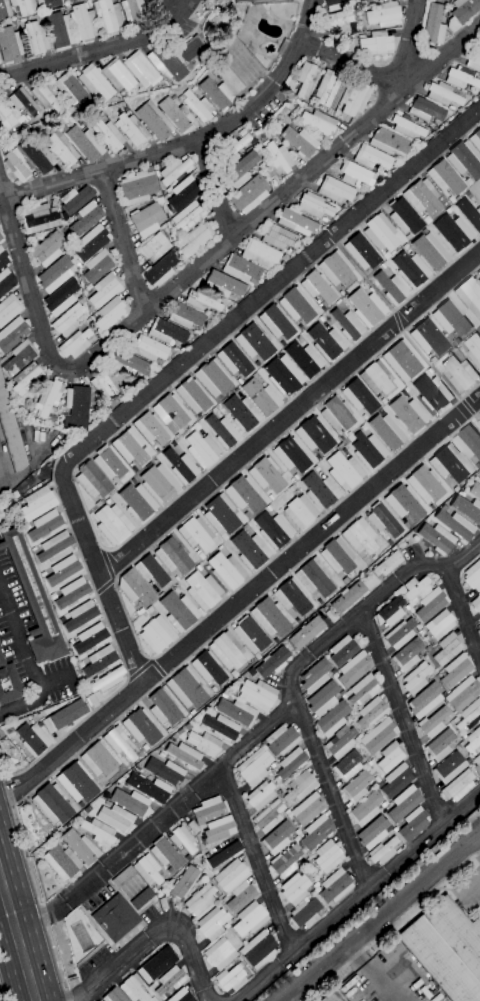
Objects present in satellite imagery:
building: (72, 0)
building: (382, 0)
building: (385, 0)
building: (252, 1)
building: (47, 4)
building: (337, 4)
building: (24, 6)
building: (4, 9)
building: (135, 13)
building: (462, 13)
building: (384, 15)
building: (108, 16)
building: (340, 20)
building: (83, 22)
building: (434, 25)
building: (60, 30)
building: (35, 38)
road: (410, 43)
building: (376, 44)
building: (10, 45)
road: (102, 48)
building: (192, 49)
building: (474, 60)
building: (0, 62)
building: (167, 62)
road: (354, 65)
building: (141, 70)
building: (118, 76)
building: (306, 78)
building: (462, 78)
building: (95, 83)
building: (329, 89)
building: (72, 91)
building: (219, 94)
building: (443, 94)
building: (46, 96)
building: (354, 98)
building: (23, 102)
building: (199, 106)
building: (426, 110)
building: (7, 116)
building: (178, 116)
building: (154, 120)
building: (319, 122)
building: (407, 127)
building: (133, 130)
building: (109, 135)
building: (475, 139)
road: (192, 142)
building: (300, 142)
building: (389, 142)
building: (86, 143)
building: (62, 149)
building: (233, 149)
building: (37, 155)
building: (278, 158)
building: (372, 158)
building: (465, 159)
building: (18, 165)
building: (240, 170)
building: (175, 171)
building: (356, 174)
building: (445, 177)
building: (138, 187)
building: (479, 188)
road: (215, 190)
building: (335, 190)
building: (183, 192)
building: (249, 194)
building: (422, 198)
building: (479, 198)
building: (75, 199)
building: (315, 206)
building: (469, 213)
building: (189, 216)
building: (405, 216)
building: (39, 218)
building: (86, 218)
building: (146, 219)
building: (296, 222)
building: (380, 232)
building: (453, 232)
building: (1, 235)
building: (278, 237)
building: (195, 239)
road: (123, 241)
building: (91, 242)
building: (154, 247)
building: (48, 249)
building: (431, 250)
building: (362, 251)
building: (260, 253)
building: (3, 258)
building: (98, 266)
road: (200, 266)
building: (242, 269)
building: (336, 269)
building: (410, 269)
building: (160, 270)
building: (479, 271)
building: (479, 273)
building: (55, 274)
building: (6, 281)
building: (223, 284)
building: (318, 287)
building: (392, 287)
building: (105, 290)
building: (470, 295)
building: (63, 297)
building: (203, 300)
building: (297, 305)
building: (367, 307)
building: (9, 309)
building: (110, 313)
building: (185, 315)
building: (451, 319)
building: (68, 320)
road: (228, 322)
building: (276, 322)
building: (347, 324)
building: (166, 332)
building: (14, 333)
building: (429, 338)
building: (326, 341)
building: (254, 342)
building: (75, 344)
building: (149, 348)
building: (473, 350)
building: (20, 357)
building: (234, 359)
building: (303, 359)
building: (403, 361)
building: (128, 363)
building: (460, 374)
building: (284, 375)
building: (28, 378)
building: (214, 378)
building: (377, 378)
building: (106, 386)
building: (432, 393)
building: (193, 395)
building: (49, 396)
building: (360, 396)
building: (261, 397)
building: (77, 407)
road: (290, 410)
building: (171, 411)
building: (242, 412)
building: (407, 413)
building: (337, 414)
building: (479, 415)
building: (479, 423)
building: (151, 428)
building: (11, 430)
building: (222, 431)
building: (387, 431)
building: (315, 434)
building: (468, 442)
building: (130, 447)
building: (201, 449)
building: (368, 450)
building: (292, 455)
building: (108, 463)
building: (449, 463)
building: (180, 466)
road: (4, 470)
building: (344, 471)
building: (266, 475)
building: (92, 480)
building: (425, 484)
building: (320, 490)
building: (475, 490)
building: (245, 494)
building: (38, 503)
building: (137, 503)
building: (404, 503)
building: (467, 509)
building: (300, 511)
building: (221, 514)
building: (383, 520)
building: (113, 524)
building: (46, 525)
building: (456, 525)
building: (273, 529)
building: (197, 533)
building: (360, 536)
building: (437, 538)
building: (57, 547)
building: (250, 550)
building: (338, 555)
building: (173, 556)
road: (465, 556)
building: (388, 564)
building: (65, 570)
building: (151, 570)
building: (227, 570)
building: (473, 576)
building: (316, 577)
building: (370, 583)
building: (135, 588)
building: (203, 590)
building: (416, 590)
building: (73, 592)
building: (293, 596)
building: (349, 597)
building: (34, 601)
road: (242, 602)
building: (431, 604)
building: (476, 604)
building: (179, 611)
building: (390, 612)
building: (82, 615)
building: (271, 617)
building: (440, 624)
road: (122, 628)
building: (478, 628)
building: (307, 632)
building: (157, 634)
building: (251, 634)
building: (400, 634)
building: (92, 638)
building: (448, 648)
building: (343, 649)
building: (228, 650)
road: (309, 652)
building: (407, 655)
building: (2, 660)
road: (28, 660)
building: (101, 660)
building: (271, 663)
building: (208, 668)
building: (354, 669)
building: (456, 670)
building: (315, 676)
building: (416, 678)
building: (107, 680)
building: (9, 684)
building: (187, 688)
building: (363, 689)
building: (463, 693)
building: (258, 695)
building: (94, 698)
building: (323, 698)
building: (425, 700)
building: (164, 708)
building: (237, 711)
building: (371, 712)
building: (65, 715)
road: (403, 715)
building: (470, 715)
building: (332, 719)
building: (433, 723)
building: (142, 727)
building: (222, 727)
building: (378, 736)
building: (33, 739)
building: (282, 739)
building: (119, 741)
building: (473, 741)
building: (340, 742)
building: (206, 744)
building: (440, 745)
building: (185, 755)
building: (390, 756)
building: (99, 760)
building: (292, 762)
building: (477, 763)
building: (348, 766)
building: (254, 767)
building: (450, 767)
building: (165, 771)
building: (397, 780)
building: (76, 783)
building: (300, 786)
building: (459, 786)
building: (356, 787)
building: (149, 788)
building: (260, 795)
building: (131, 802)
building: (404, 802)
building: (53, 803)
building: (309, 809)
building: (365, 809)
building: (208, 810)
building: (269, 816)
building: (116, 818)
road: (158, 819)
building: (413, 823)
building: (193, 827)
building: (219, 828)
building: (316, 831)
building: (99, 832)
building: (373, 833)
building: (277, 837)
building: (183, 839)
road: (477, 844)
building: (82, 846)
building: (383, 851)
building: (166, 853)
building: (224, 854)
building: (328, 856)
road: (257, 859)
building: (285, 861)
building: (62, 862)
building: (148, 870)
building: (124, 876)
building: (232, 876)
road: (35, 877)
building: (185, 882)
building: (336, 886)
road: (471, 888)
building: (295, 889)
road: (449, 889)
road: (359, 895)
building: (241, 896)
building: (142, 898)
building: (200, 900)
building: (163, 903)
building: (306, 913)
building: (115, 917)
road: (384, 918)
building: (250, 919)
building: (213, 923)
road: (391, 926)
road: (154, 933)
road: (19, 935)
building: (259, 948)
building: (446, 949)
building: (220, 954)
building: (156, 964)
road: (372, 972)
building: (231, 978)
building: (170, 980)
building: (134, 988)
building: (114, 995)
building: (181, 996)
building: (330, 997)
road: (294, 999)
building: (98, 1000)

